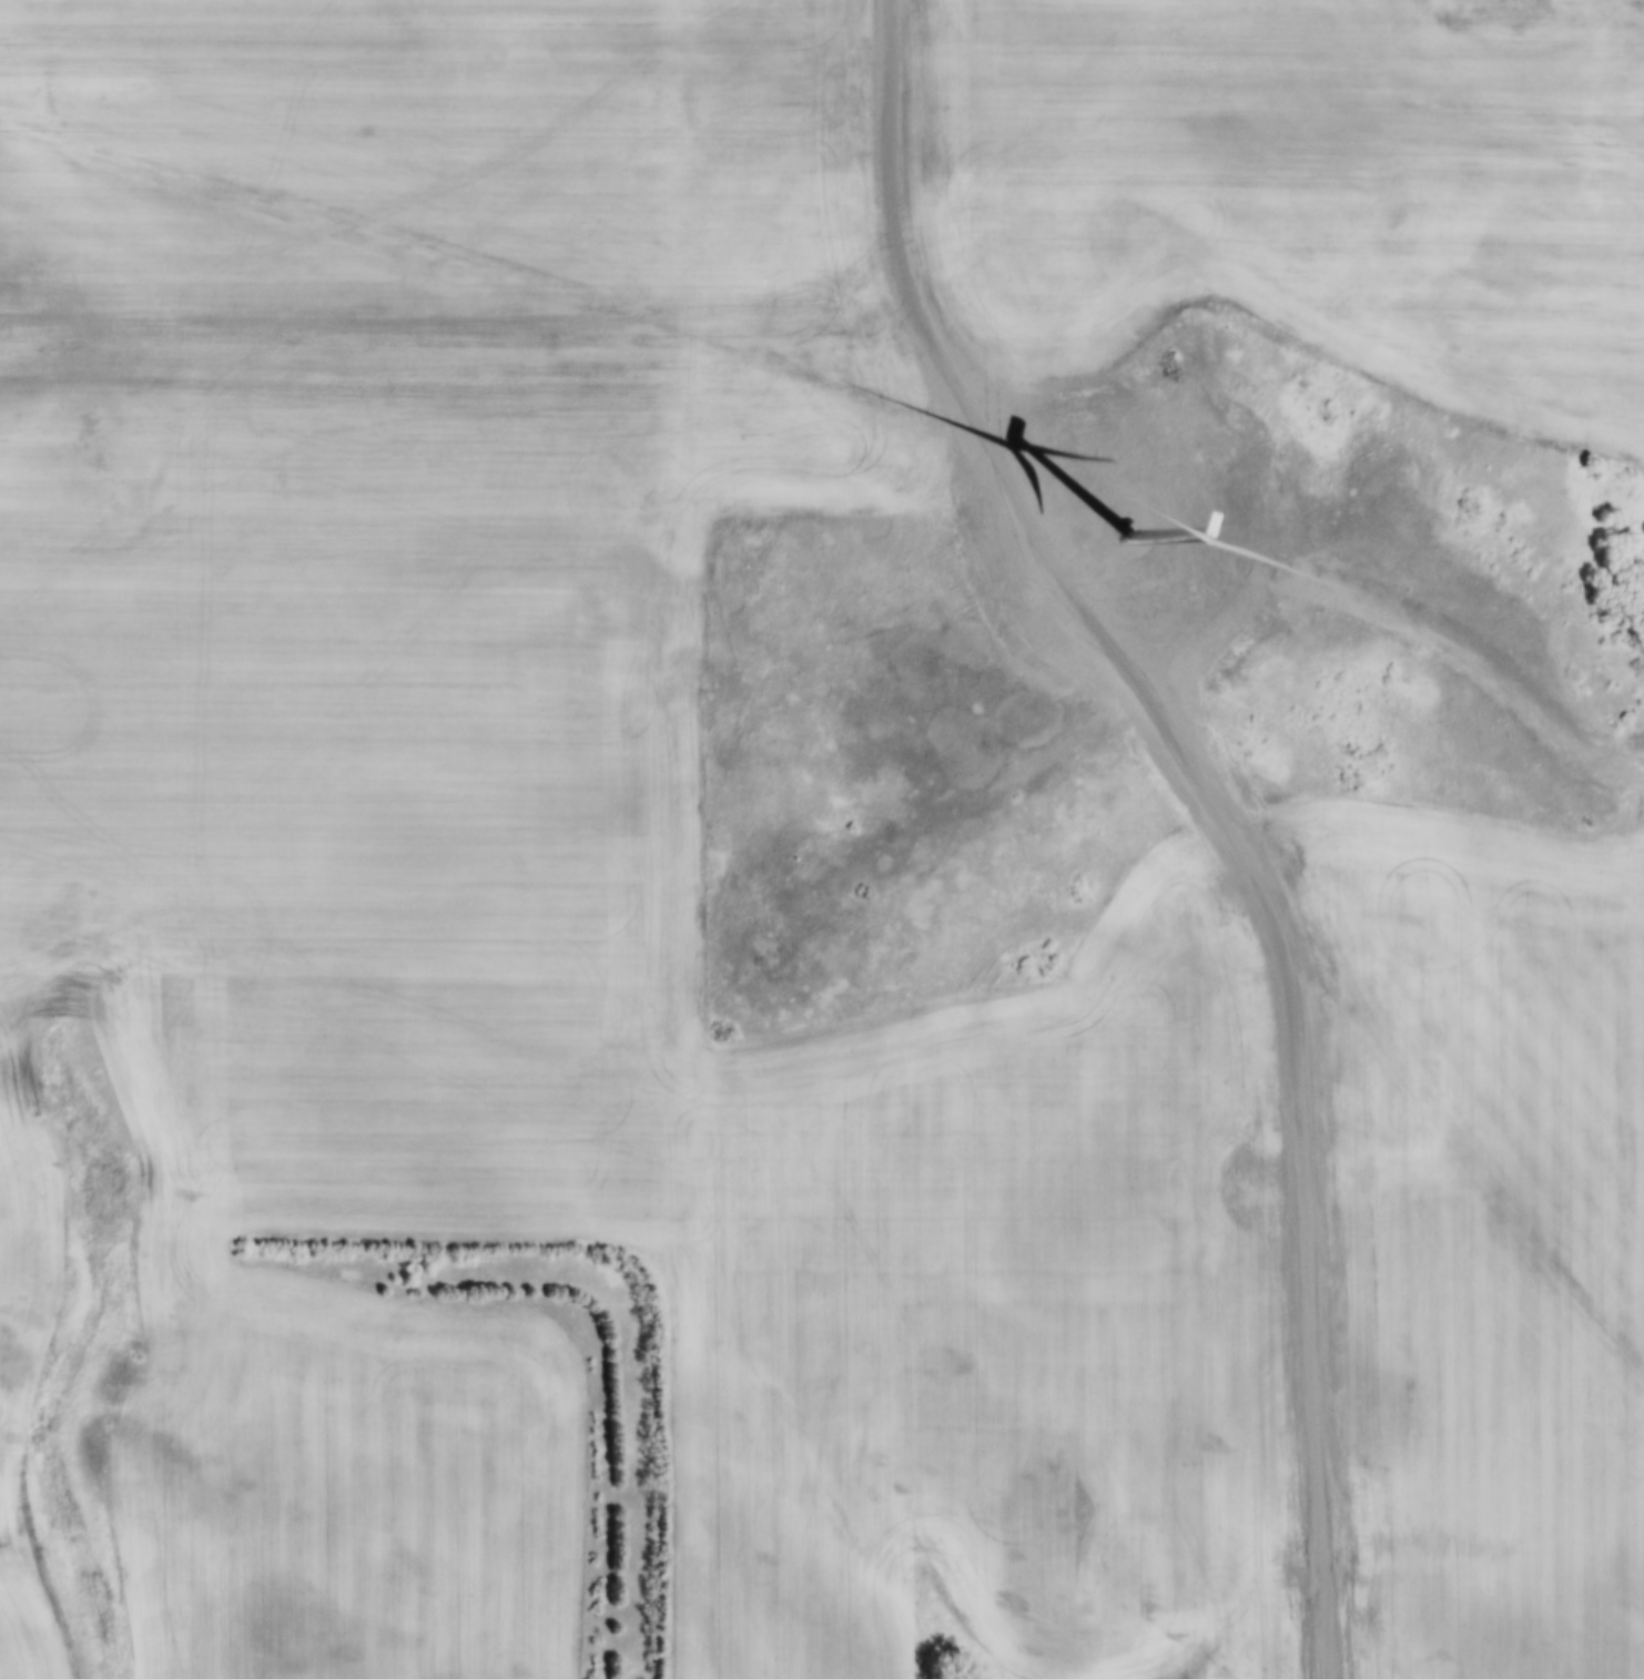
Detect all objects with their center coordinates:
wind turbine: (1120, 523)

